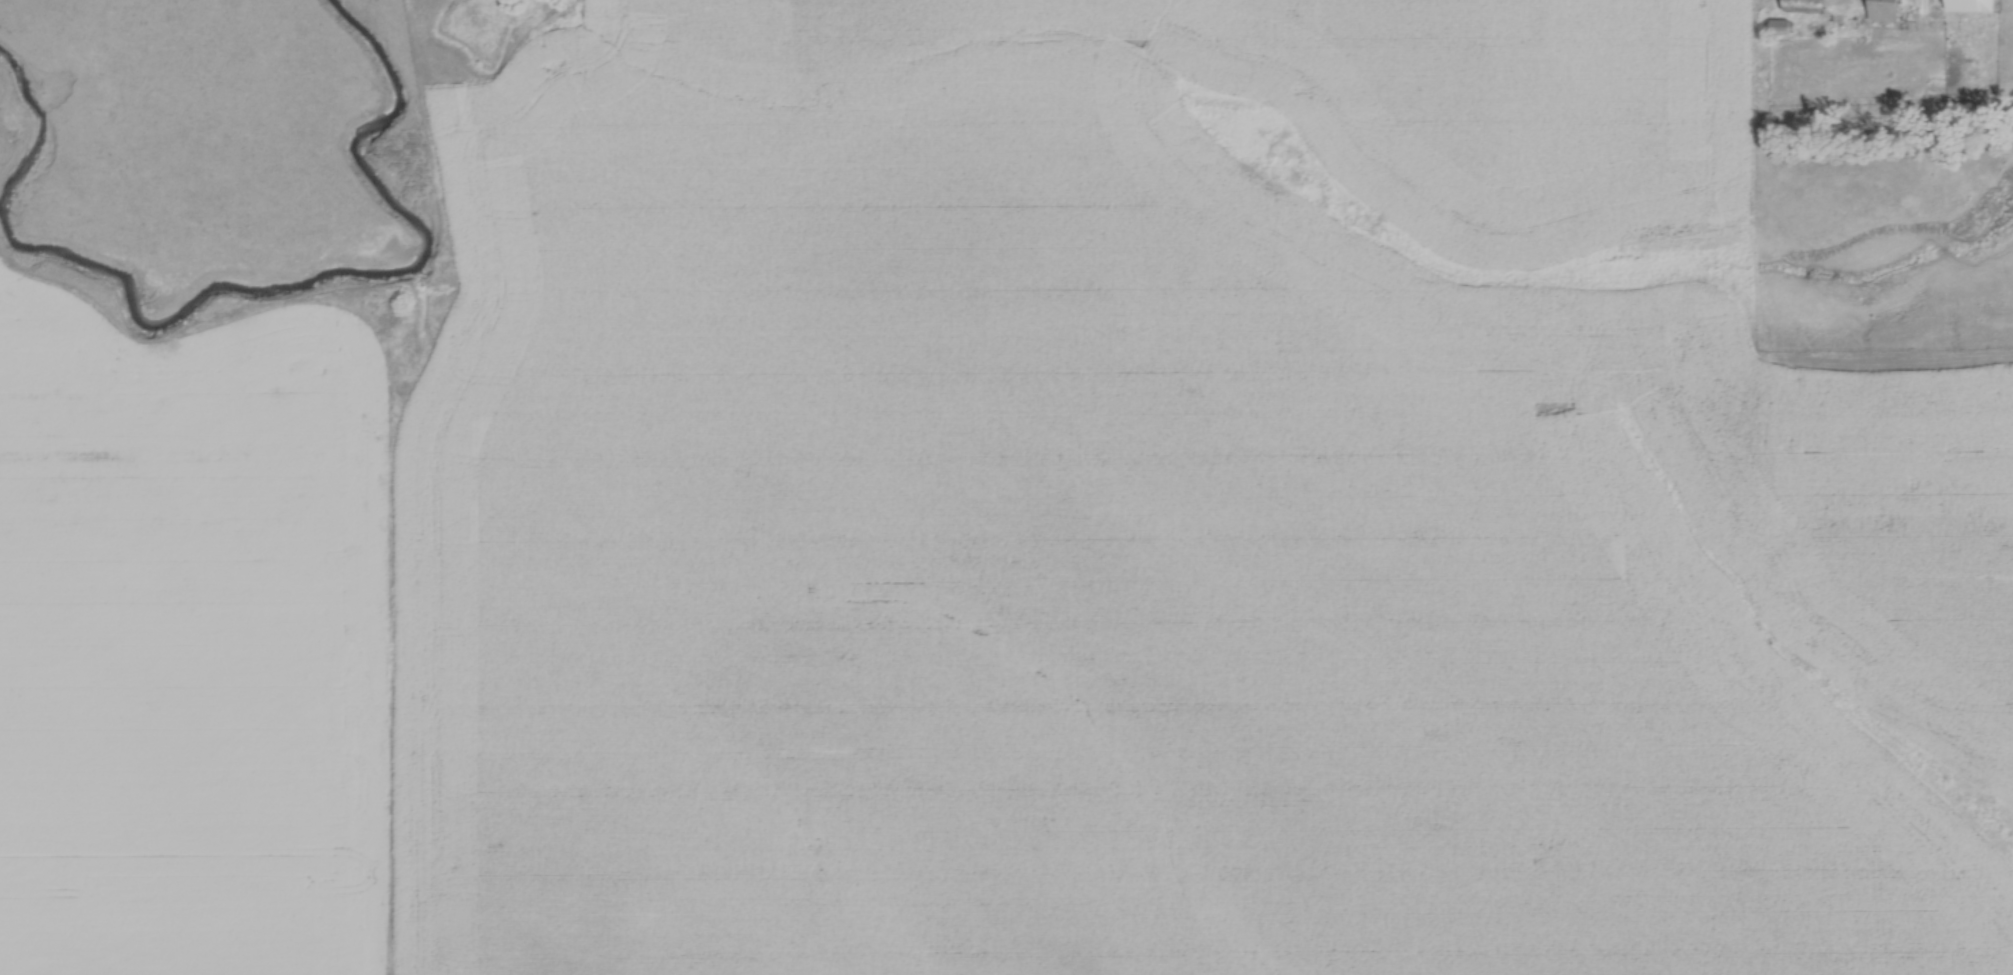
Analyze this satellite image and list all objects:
building: (1805, 6)
building: (1972, 6)
building: (1885, 10)
building: (1782, 26)
river: (18, 118)
river: (332, 270)

